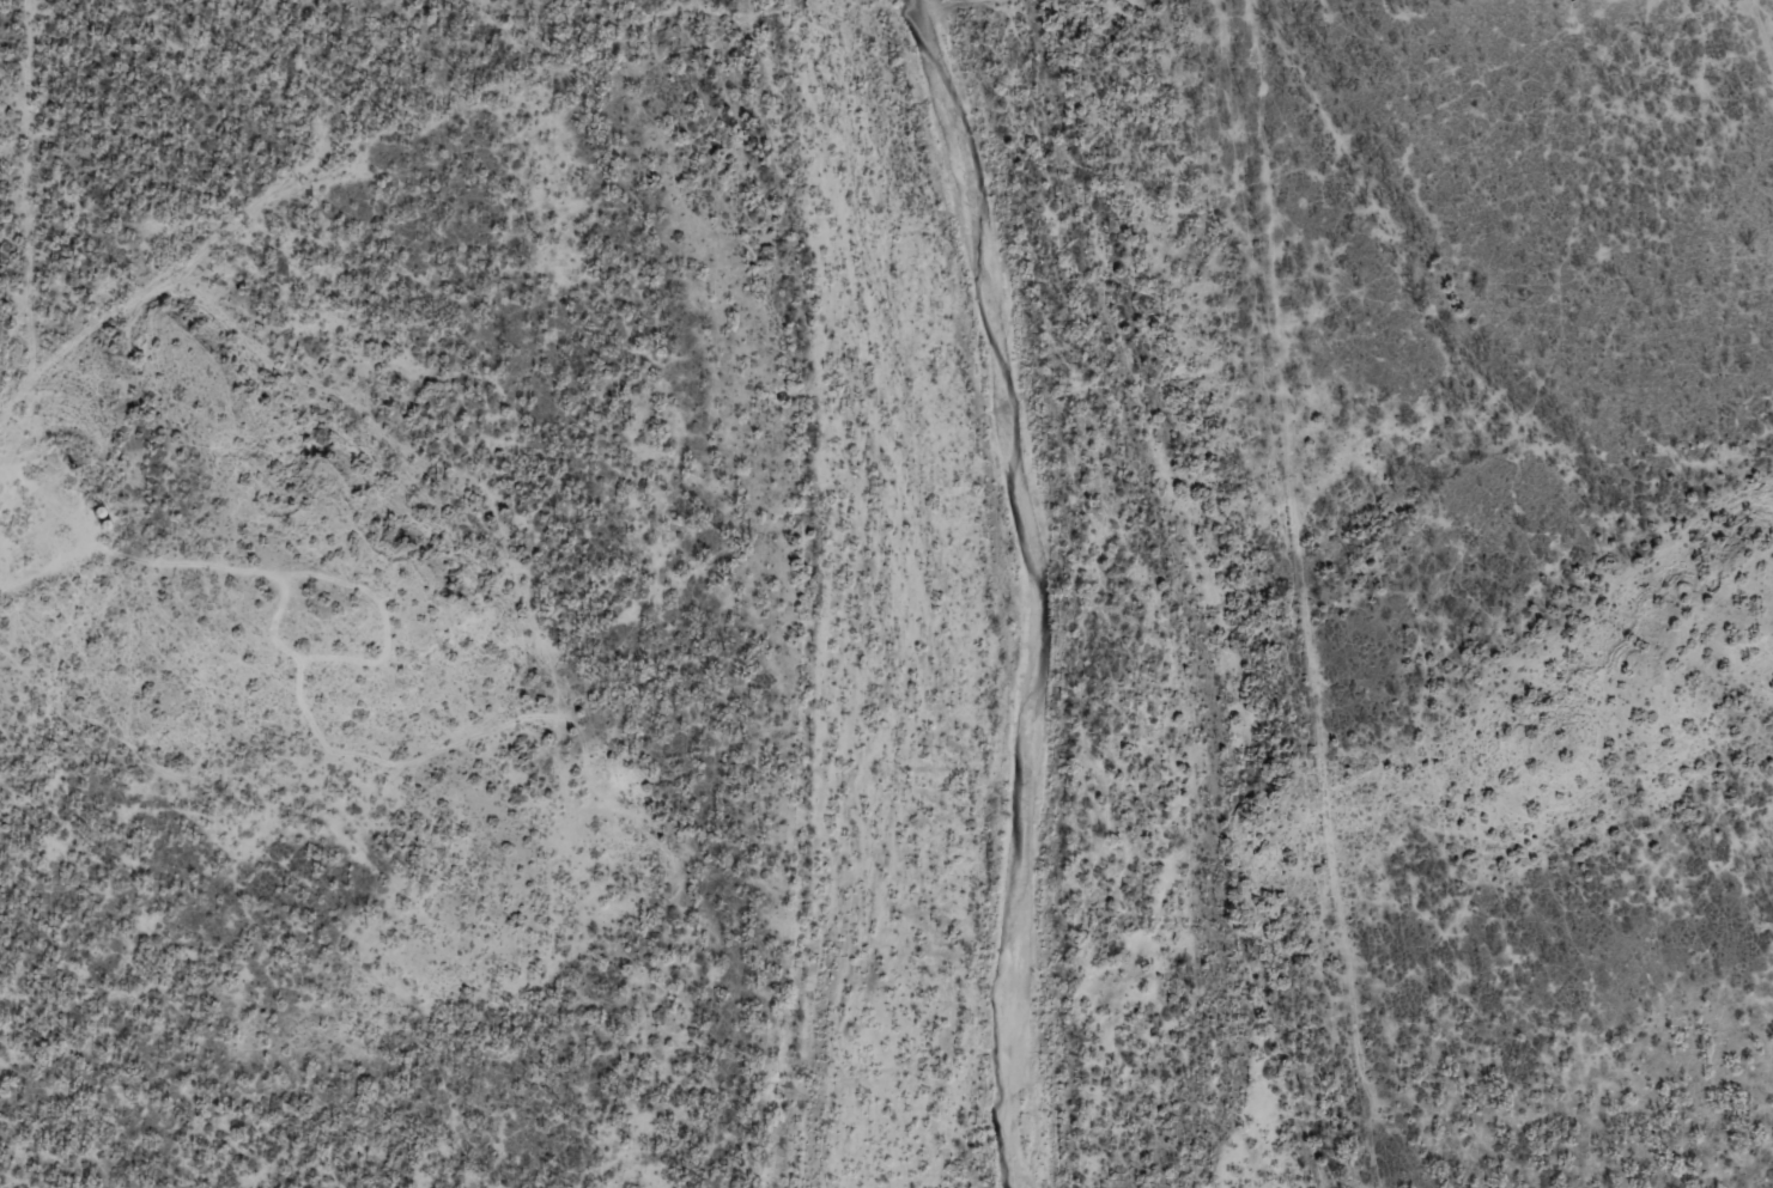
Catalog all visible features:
road: (146, 197)
road: (1443, 347)
river: (992, 590)

